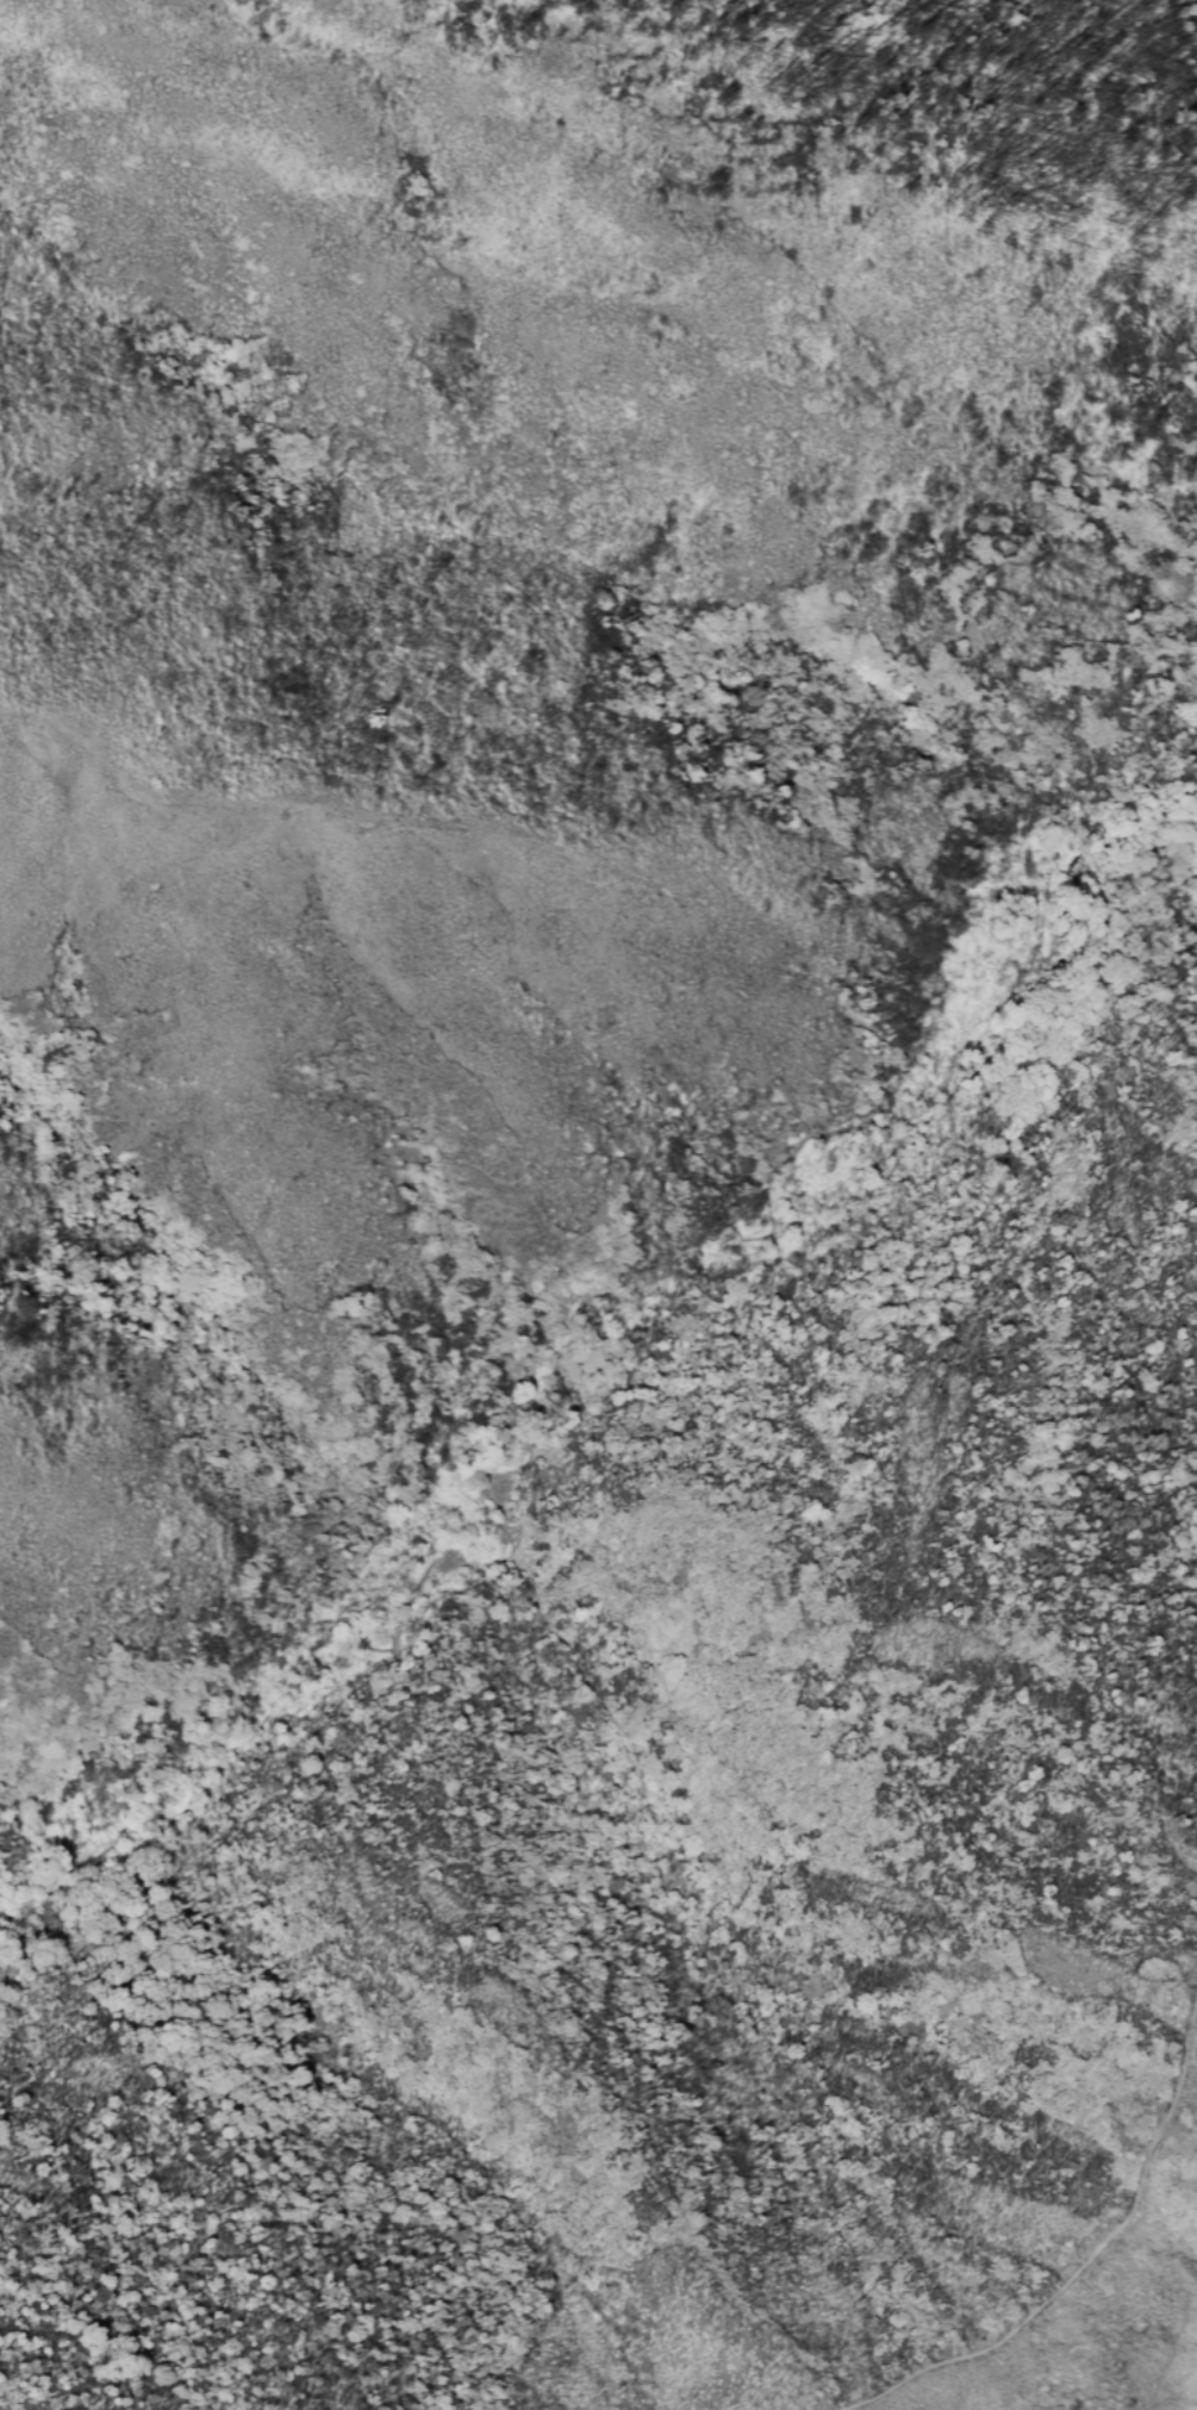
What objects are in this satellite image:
road: (1087, 2263)

